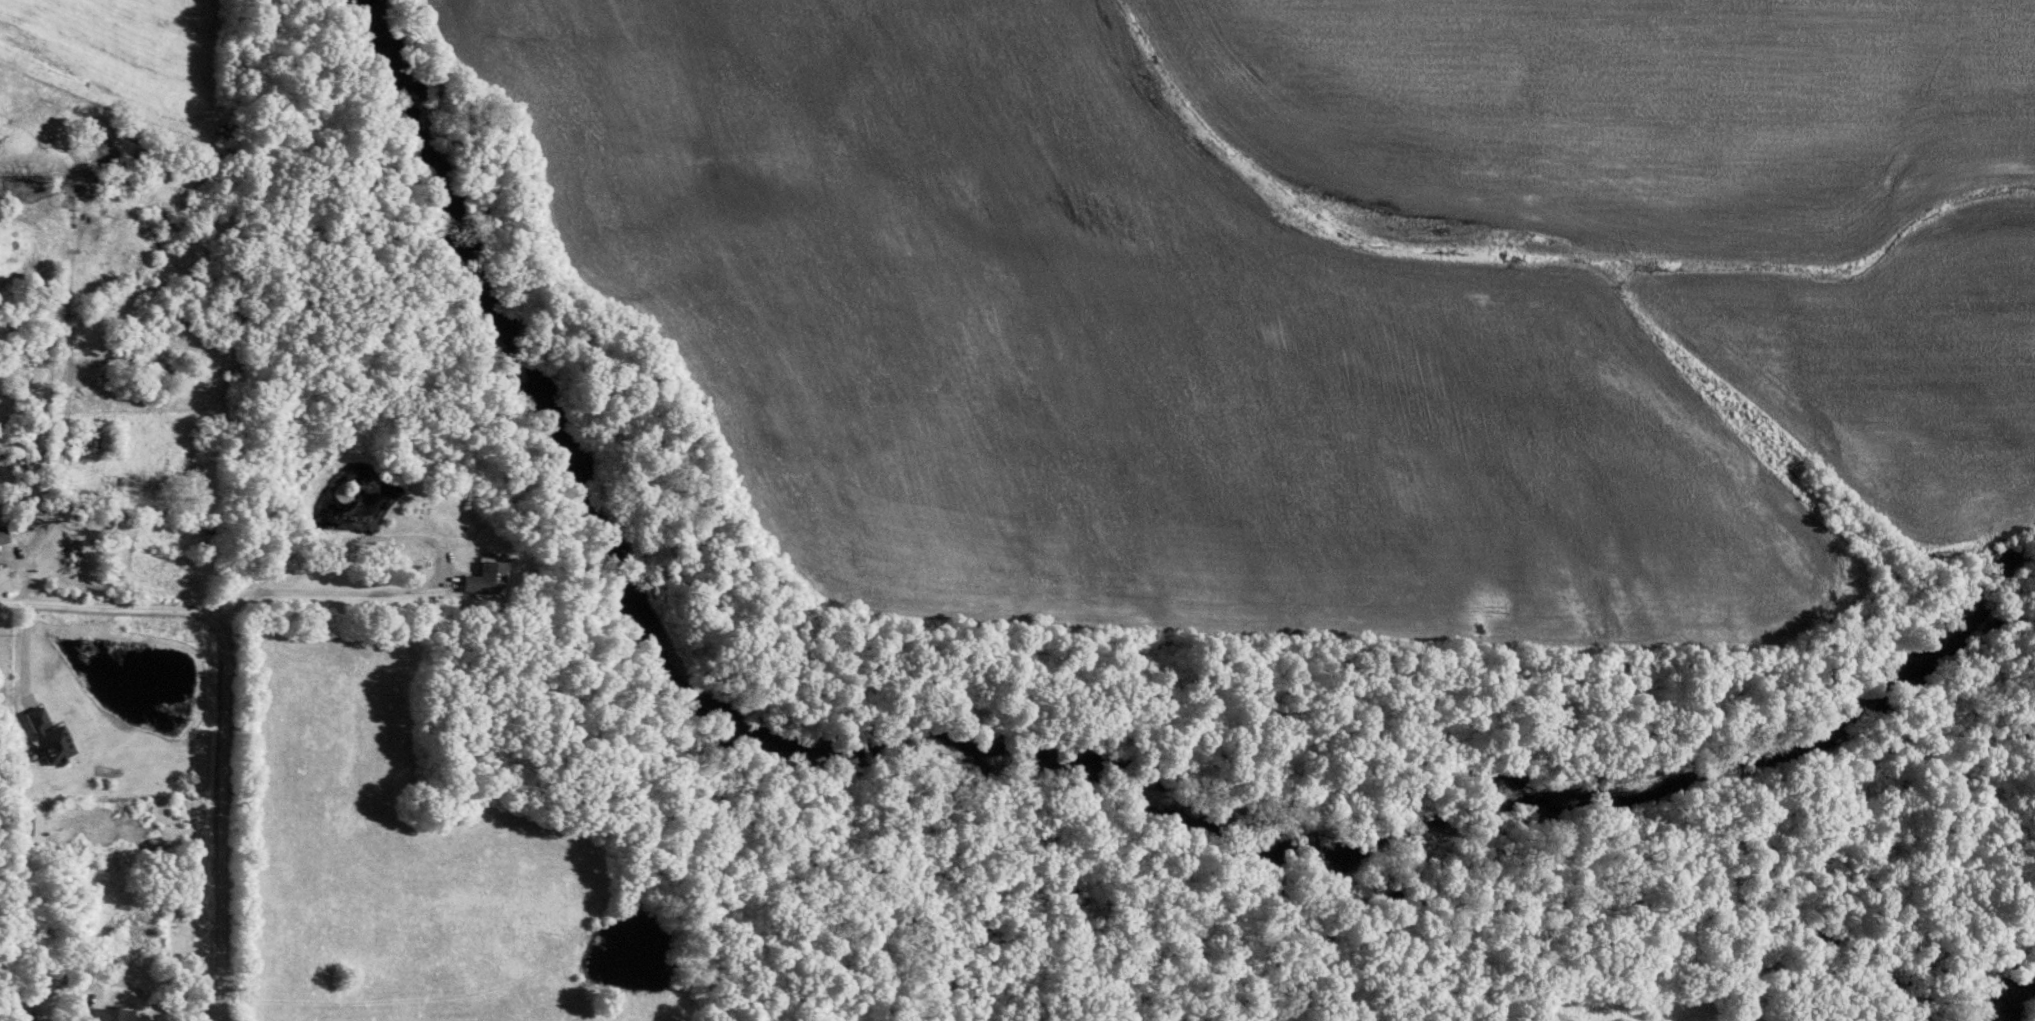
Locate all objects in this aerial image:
road: (63, 302)
building: (2, 534)
road: (416, 537)
road: (32, 555)
building: (484, 575)
road: (233, 605)
road: (106, 607)
road: (21, 650)
building: (48, 734)
river: (1026, 765)
building: (21, 820)
road: (215, 820)
river: (2017, 1002)
building: (110, 1013)

